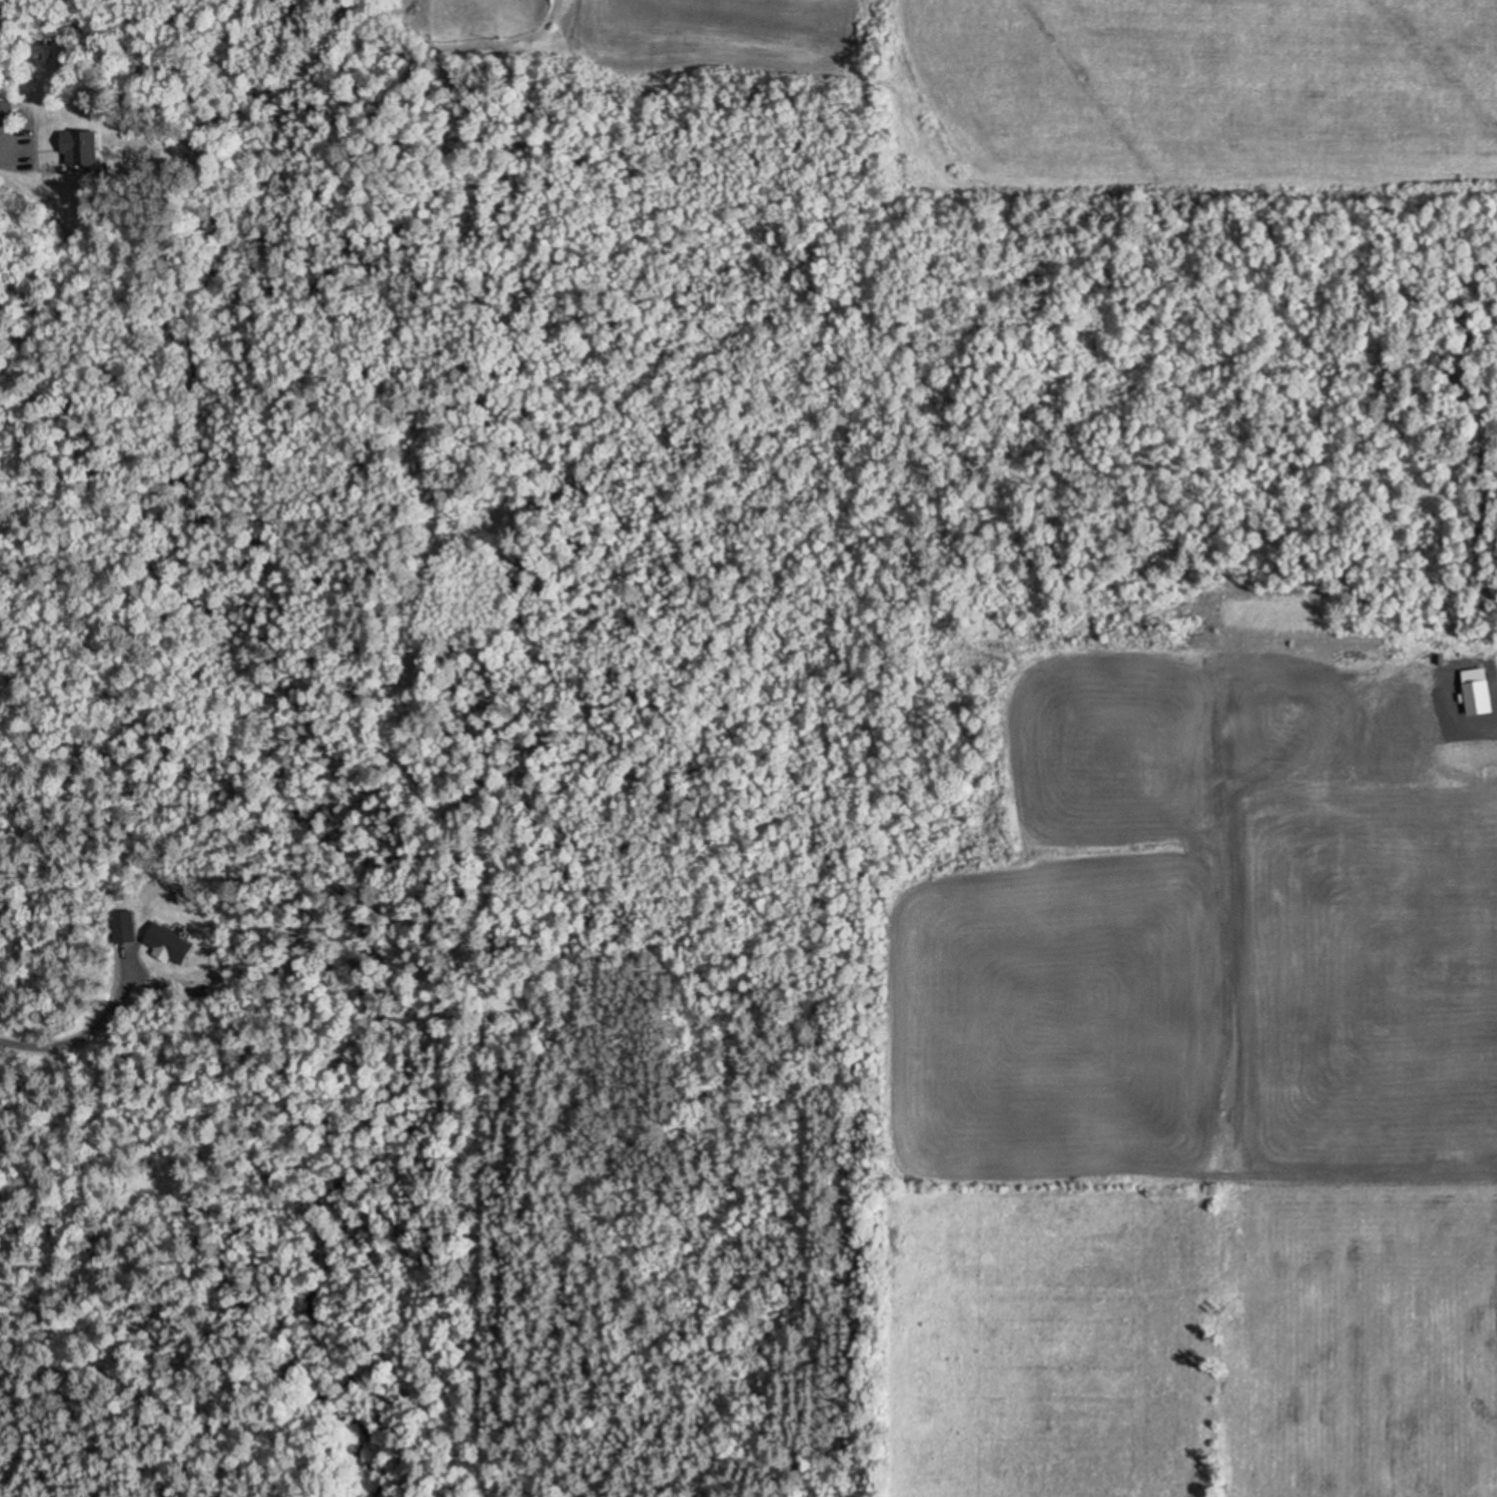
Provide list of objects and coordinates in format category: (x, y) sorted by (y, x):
building: (6, 107)
building: (81, 147)
building: (173, 942)

